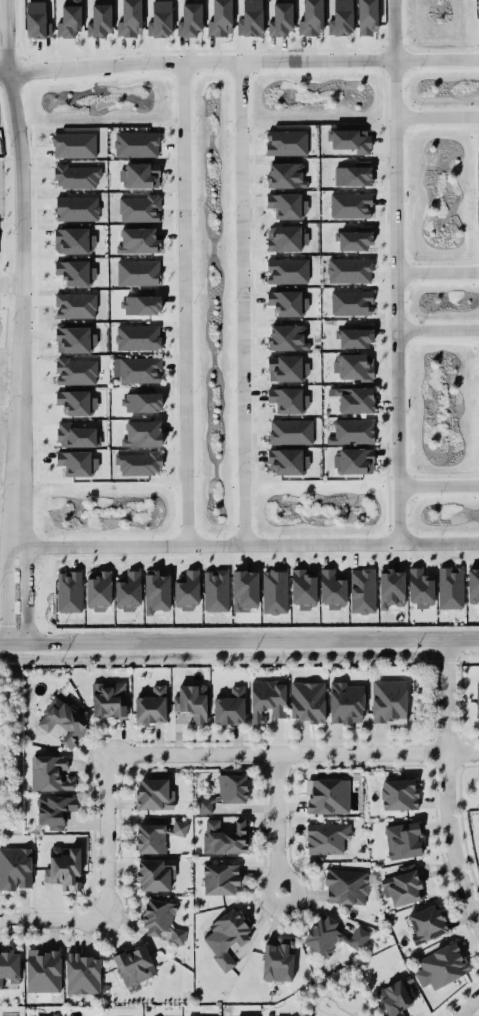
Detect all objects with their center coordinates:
building: (312, 17)
building: (130, 18)
building: (221, 18)
building: (251, 18)
building: (282, 18)
building: (341, 18)
building: (37, 19)
building: (69, 19)
building: (161, 19)
building: (100, 20)
building: (190, 20)
road: (239, 61)
road: (437, 115)
building: (350, 139)
building: (287, 142)
building: (137, 143)
building: (74, 144)
building: (286, 174)
building: (354, 174)
building: (140, 175)
building: (77, 176)
building: (286, 204)
building: (351, 205)
building: (77, 207)
building: (139, 207)
building: (285, 238)
building: (354, 238)
building: (74, 240)
building: (139, 240)
building: (288, 270)
building: (350, 270)
building: (76, 271)
road: (396, 271)
road: (438, 271)
road: (19, 272)
building: (138, 272)
road: (242, 302)
building: (288, 302)
building: (352, 302)
road: (184, 303)
building: (75, 304)
road: (438, 328)
building: (356, 335)
building: (138, 336)
building: (288, 337)
building: (75, 338)
building: (355, 366)
building: (137, 368)
building: (287, 368)
building: (76, 370)
building: (288, 399)
building: (354, 399)
building: (291, 430)
building: (352, 431)
building: (142, 432)
building: (75, 435)
building: (287, 460)
building: (354, 460)
building: (139, 462)
road: (439, 484)
road: (247, 543)
building: (473, 585)
building: (392, 587)
building: (420, 587)
building: (450, 587)
building: (332, 588)
building: (99, 589)
building: (216, 589)
building: (245, 589)
building: (303, 589)
road: (26, 590)
building: (128, 590)
building: (187, 590)
building: (275, 590)
building: (362, 590)
road: (7, 591)
building: (69, 591)
building: (157, 591)
road: (239, 641)
building: (108, 698)
building: (266, 698)
building: (477, 699)
building: (191, 700)
building: (389, 700)
building: (307, 701)
building: (346, 701)
building: (151, 706)
building: (229, 706)
building: (62, 719)
road: (294, 754)
building: (49, 772)
road: (443, 780)
building: (227, 790)
building: (153, 793)
building: (399, 793)
building: (327, 794)
building: (54, 811)
building: (179, 826)
road: (272, 826)
road: (108, 835)
building: (225, 836)
building: (326, 836)
building: (151, 837)
building: (403, 839)
building: (64, 866)
building: (15, 868)
building: (155, 874)
building: (221, 878)
building: (401, 885)
building: (346, 886)
road: (53, 916)
building: (162, 919)
building: (426, 922)
building: (229, 935)
building: (332, 935)
building: (278, 959)
building: (9, 962)
building: (441, 964)
building: (135, 965)
building: (43, 969)
building: (82, 971)
road: (342, 984)
building: (396, 996)
road: (457, 997)
road: (467, 1007)
building: (48, 1015)
building: (192, 1015)
building: (245, 1015)

